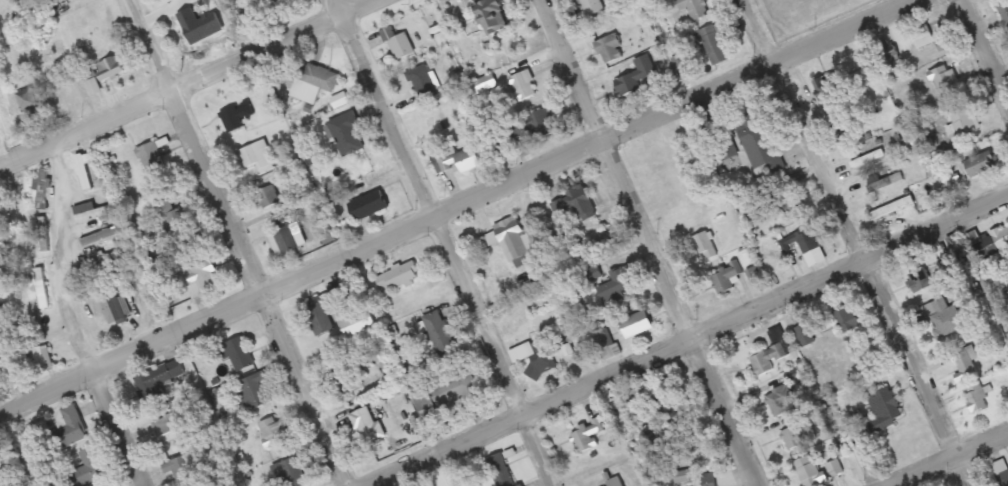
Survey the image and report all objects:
building: (593, 6)
building: (695, 8)
building: (1004, 14)
building: (497, 15)
building: (717, 42)
building: (402, 46)
road: (988, 47)
building: (611, 48)
building: (887, 57)
building: (110, 68)
building: (638, 76)
building: (423, 81)
building: (946, 81)
building: (312, 82)
road: (182, 83)
building: (488, 84)
building: (527, 85)
building: (829, 92)
building: (27, 99)
building: (236, 116)
building: (961, 123)
building: (533, 126)
building: (348, 134)
building: (761, 145)
building: (257, 156)
building: (151, 157)
building: (873, 157)
building: (462, 160)
building: (982, 164)
building: (885, 183)
building: (267, 198)
building: (787, 203)
road: (457, 204)
building: (370, 205)
building: (576, 205)
building: (892, 208)
building: (172, 217)
building: (117, 224)
building: (285, 240)
building: (808, 241)
building: (977, 241)
road: (243, 242)
road: (443, 242)
building: (518, 242)
road: (648, 243)
road: (854, 243)
building: (706, 246)
building: (792, 255)
building: (398, 277)
building: (201, 279)
building: (758, 279)
building: (922, 283)
building: (617, 284)
building: (114, 310)
building: (319, 316)
building: (944, 318)
road: (71, 320)
building: (847, 320)
building: (637, 324)
building: (440, 334)
building: (804, 335)
road: (682, 343)
building: (237, 354)
building: (769, 354)
building: (537, 357)
building: (965, 364)
building: (346, 377)
building: (157, 381)
building: (255, 389)
building: (448, 393)
building: (978, 398)
building: (661, 401)
building: (781, 401)
building: (886, 408)
building: (367, 426)
building: (170, 428)
building: (68, 429)
building: (272, 432)
building: (585, 435)
building: (798, 436)
road: (948, 459)
building: (88, 469)
building: (184, 471)
building: (499, 471)
building: (290, 472)
building: (811, 475)
building: (1006, 476)
building: (615, 482)
building: (521, 485)

